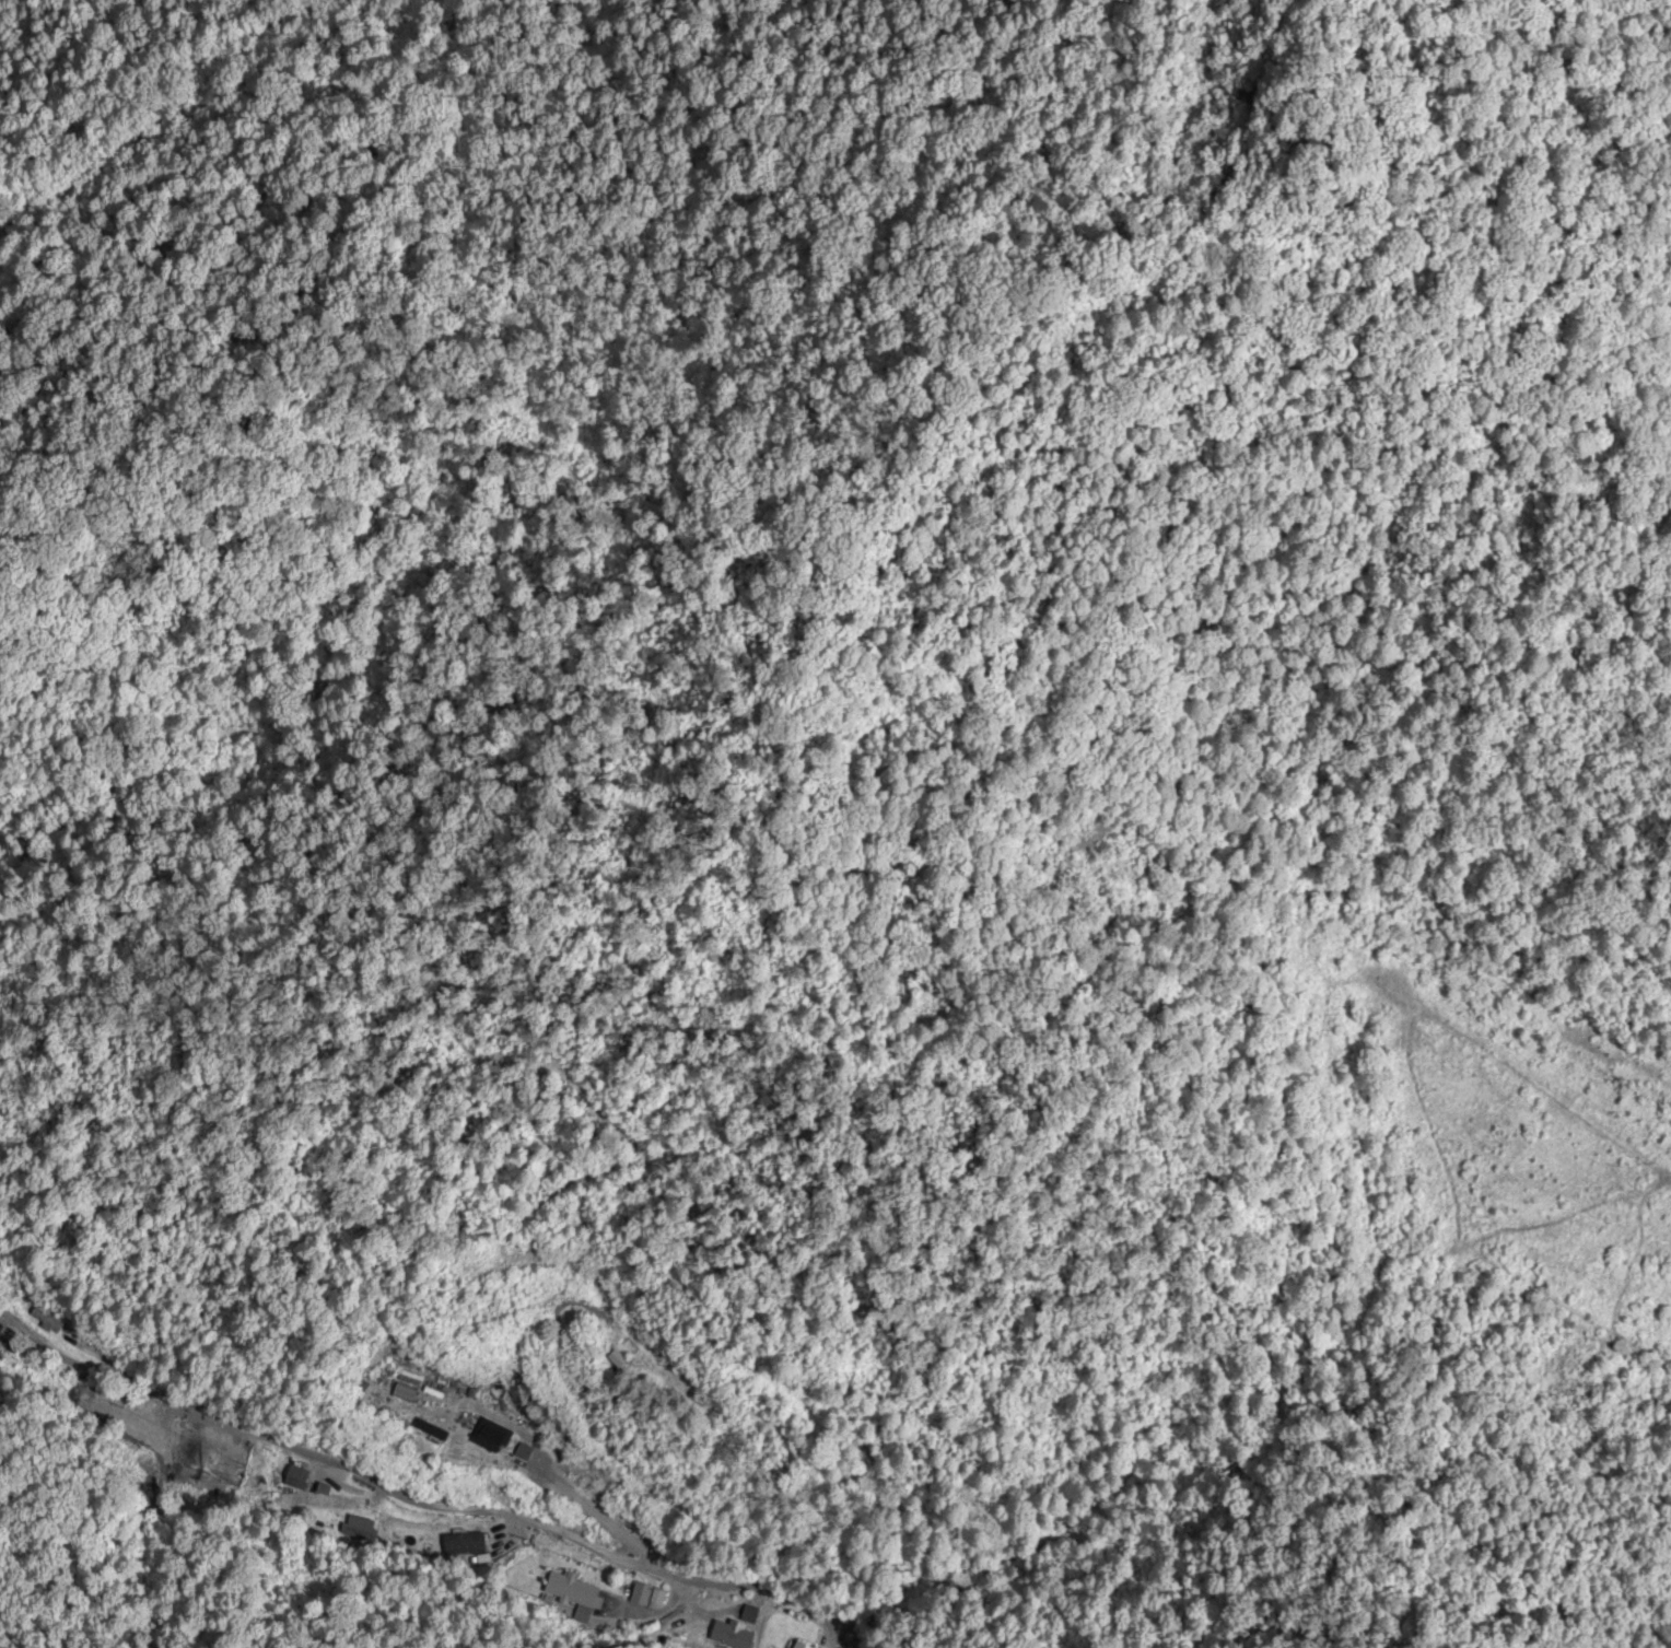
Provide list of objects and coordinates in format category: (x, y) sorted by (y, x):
building: (32, 1314)
building: (95, 1405)
building: (150, 1435)
building: (495, 1436)
building: (466, 1451)
building: (258, 1468)
building: (296, 1475)
road: (397, 1507)
building: (463, 1544)
building: (572, 1589)
building: (647, 1596)
building: (729, 1636)
building: (799, 1645)

